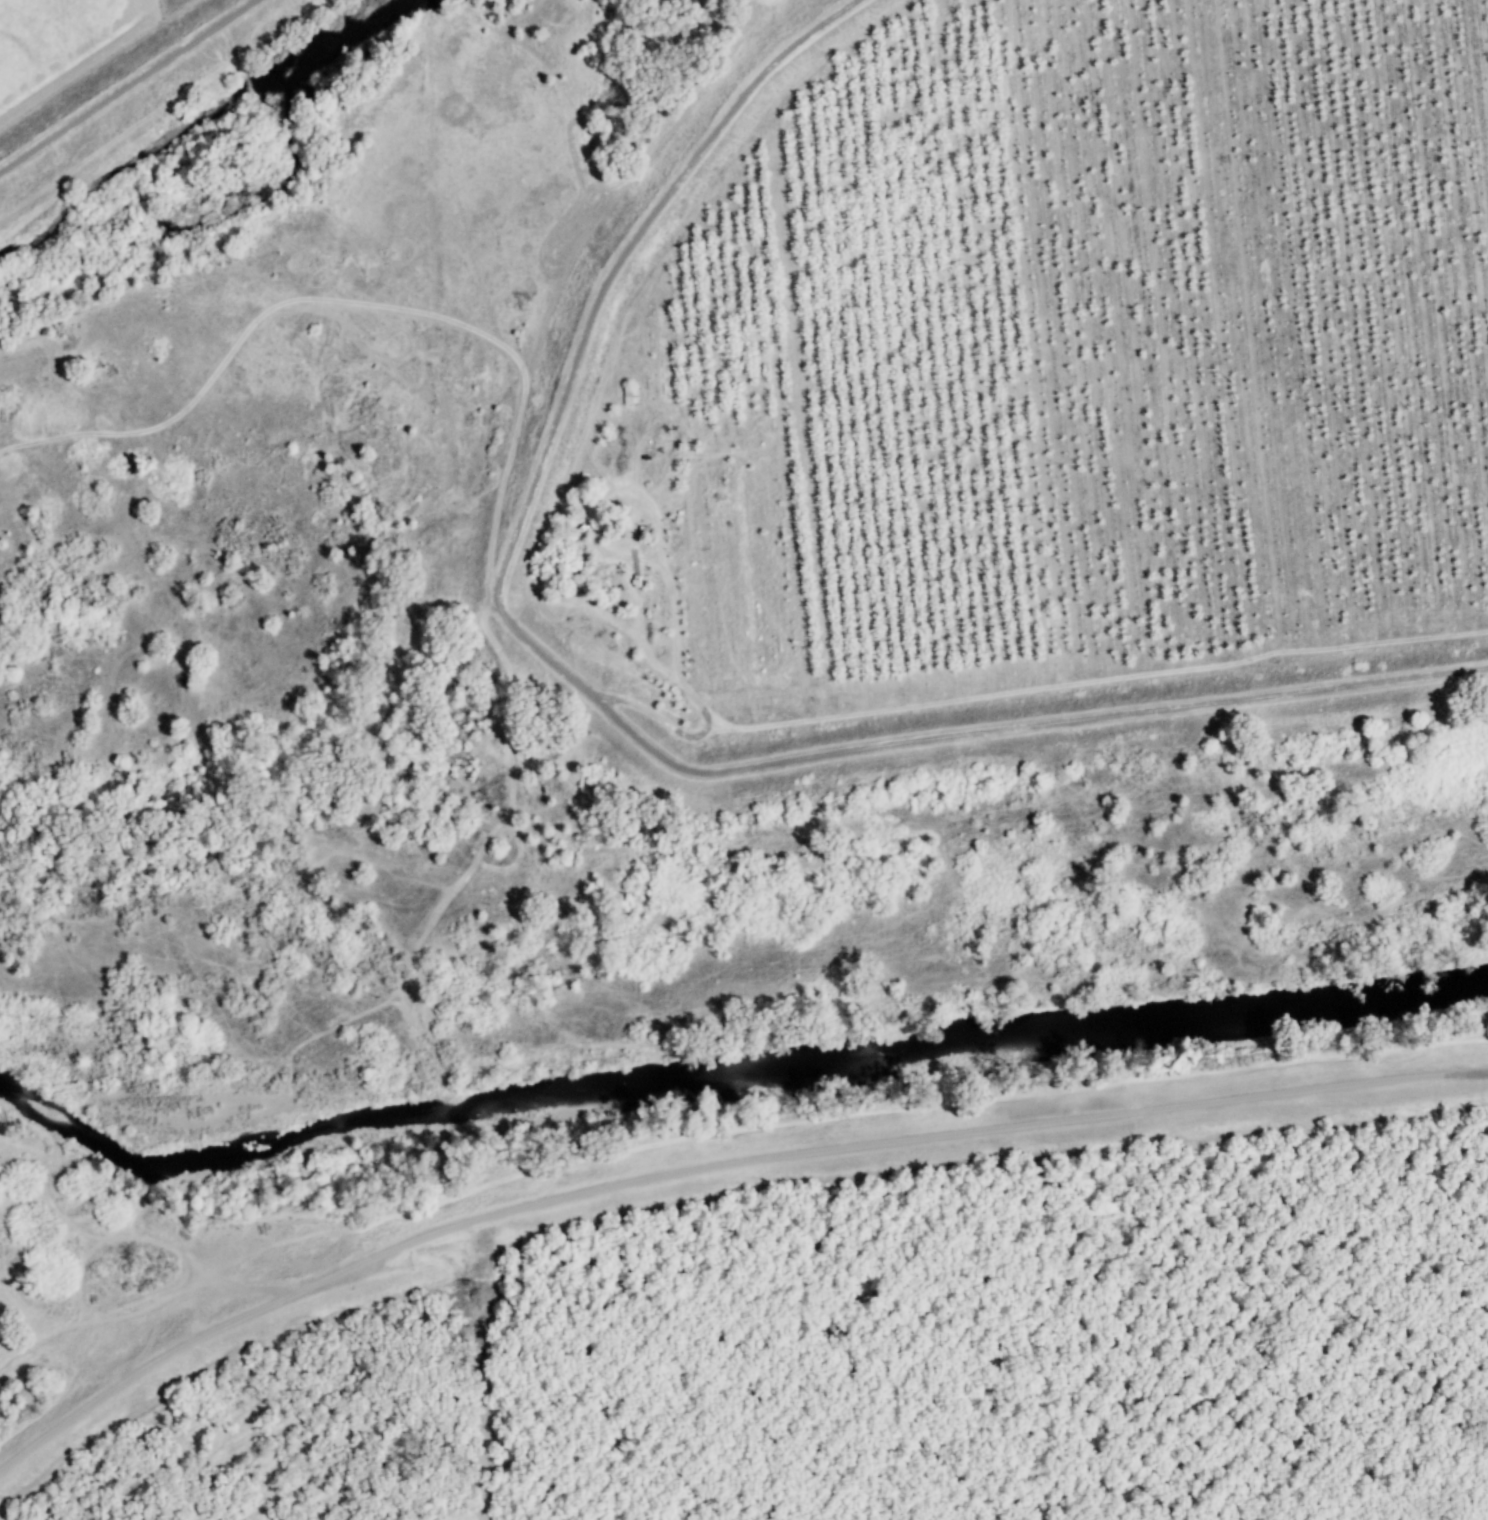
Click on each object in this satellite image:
road: (127, 86)
road: (613, 276)
road: (977, 732)
river: (730, 1081)
road: (954, 1134)
road: (203, 1337)
road: (488, 1365)

